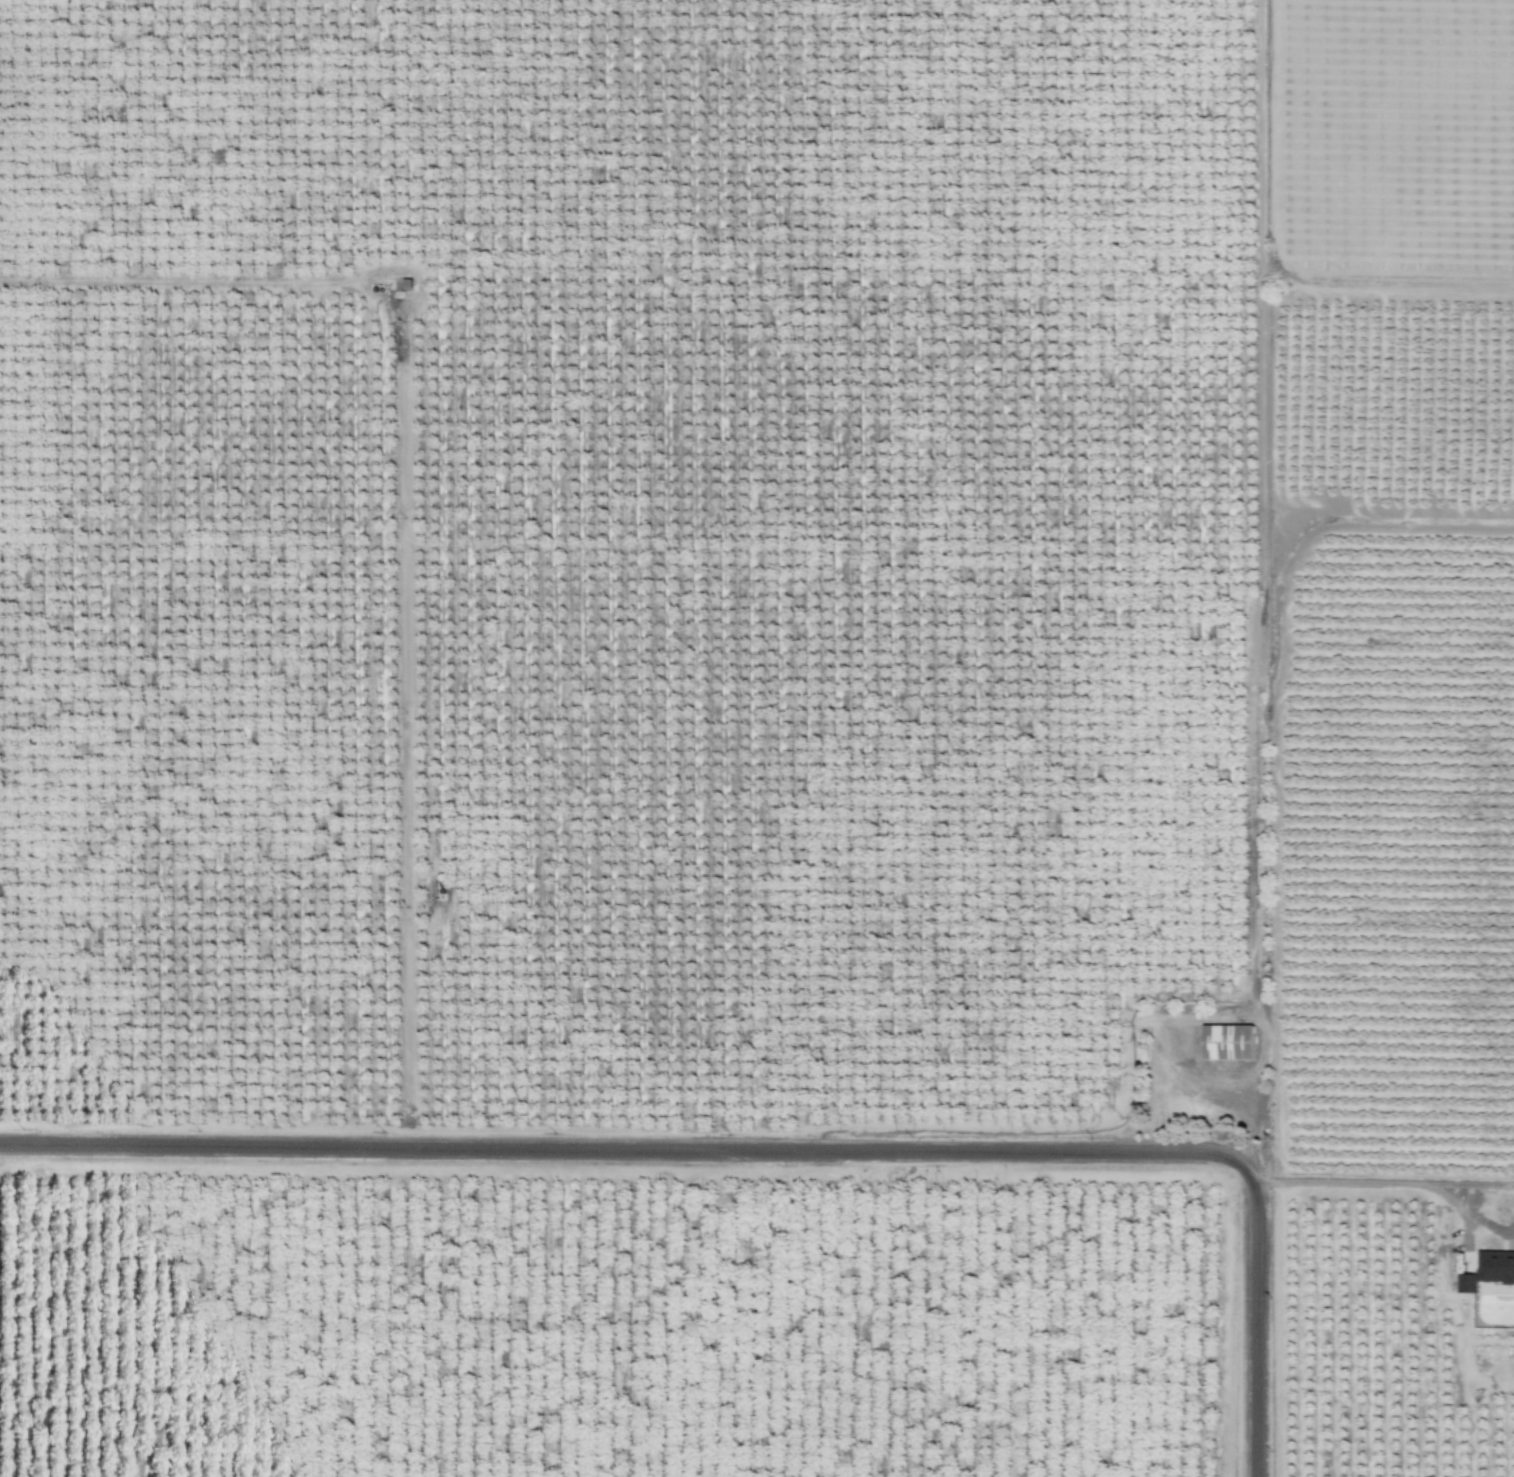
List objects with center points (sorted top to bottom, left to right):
building: (1225, 1043)
road: (778, 1151)
road: (1339, 1181)
road: (1472, 1184)
road: (1468, 1214)
building: (1487, 1271)

